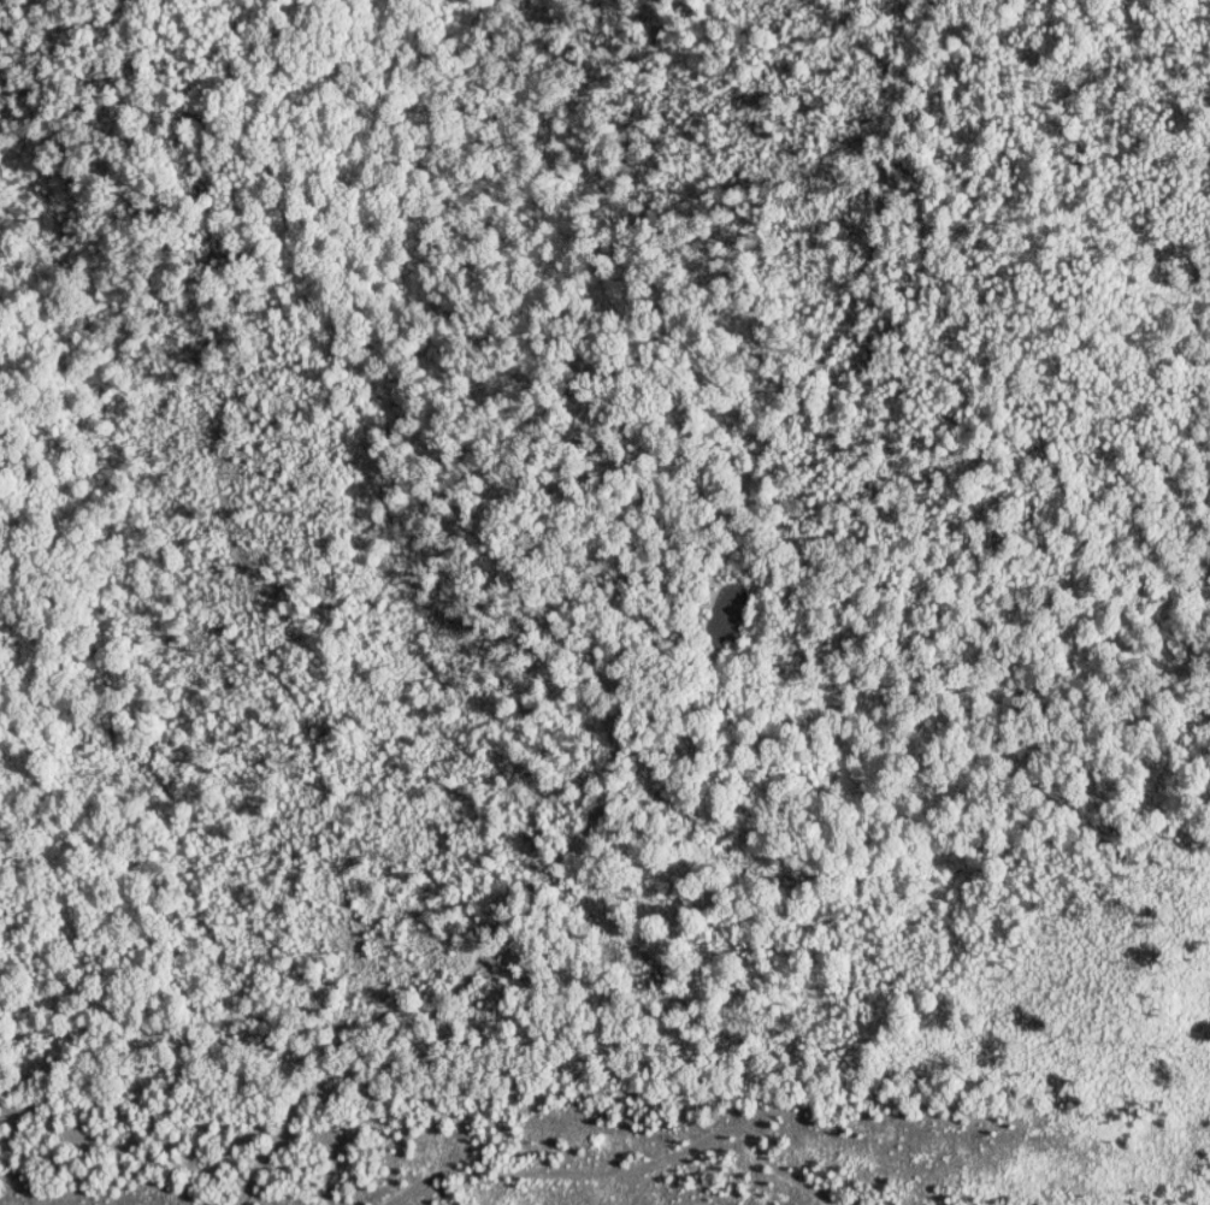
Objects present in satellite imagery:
road: (541, 1185)

